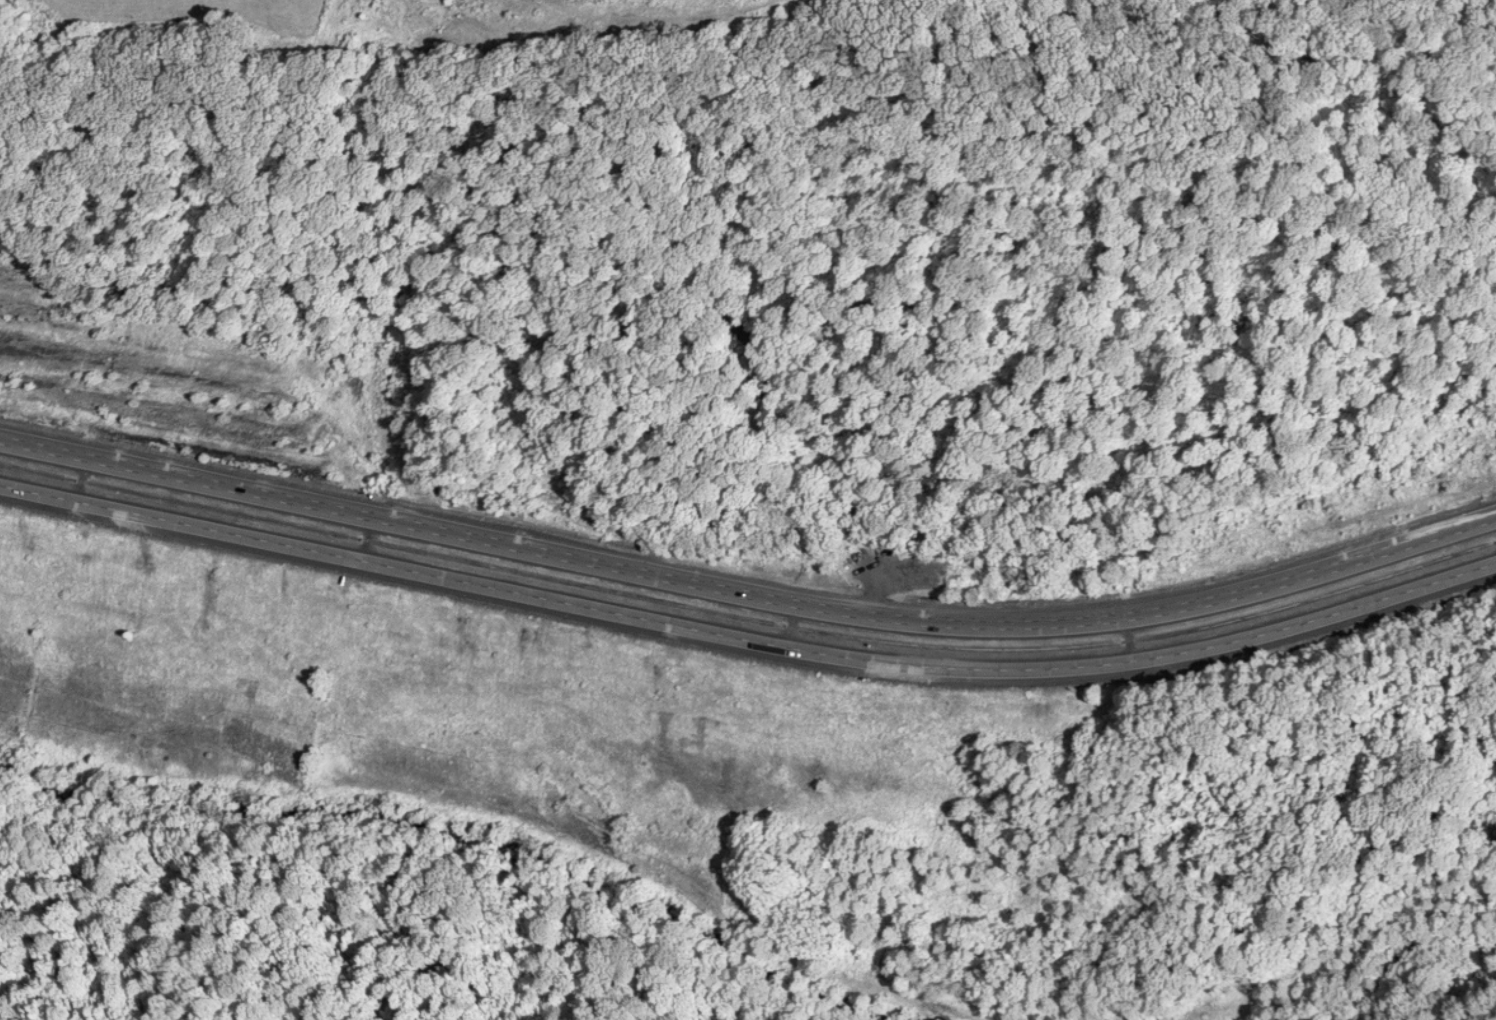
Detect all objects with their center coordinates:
road: (747, 599)
road: (747, 640)

